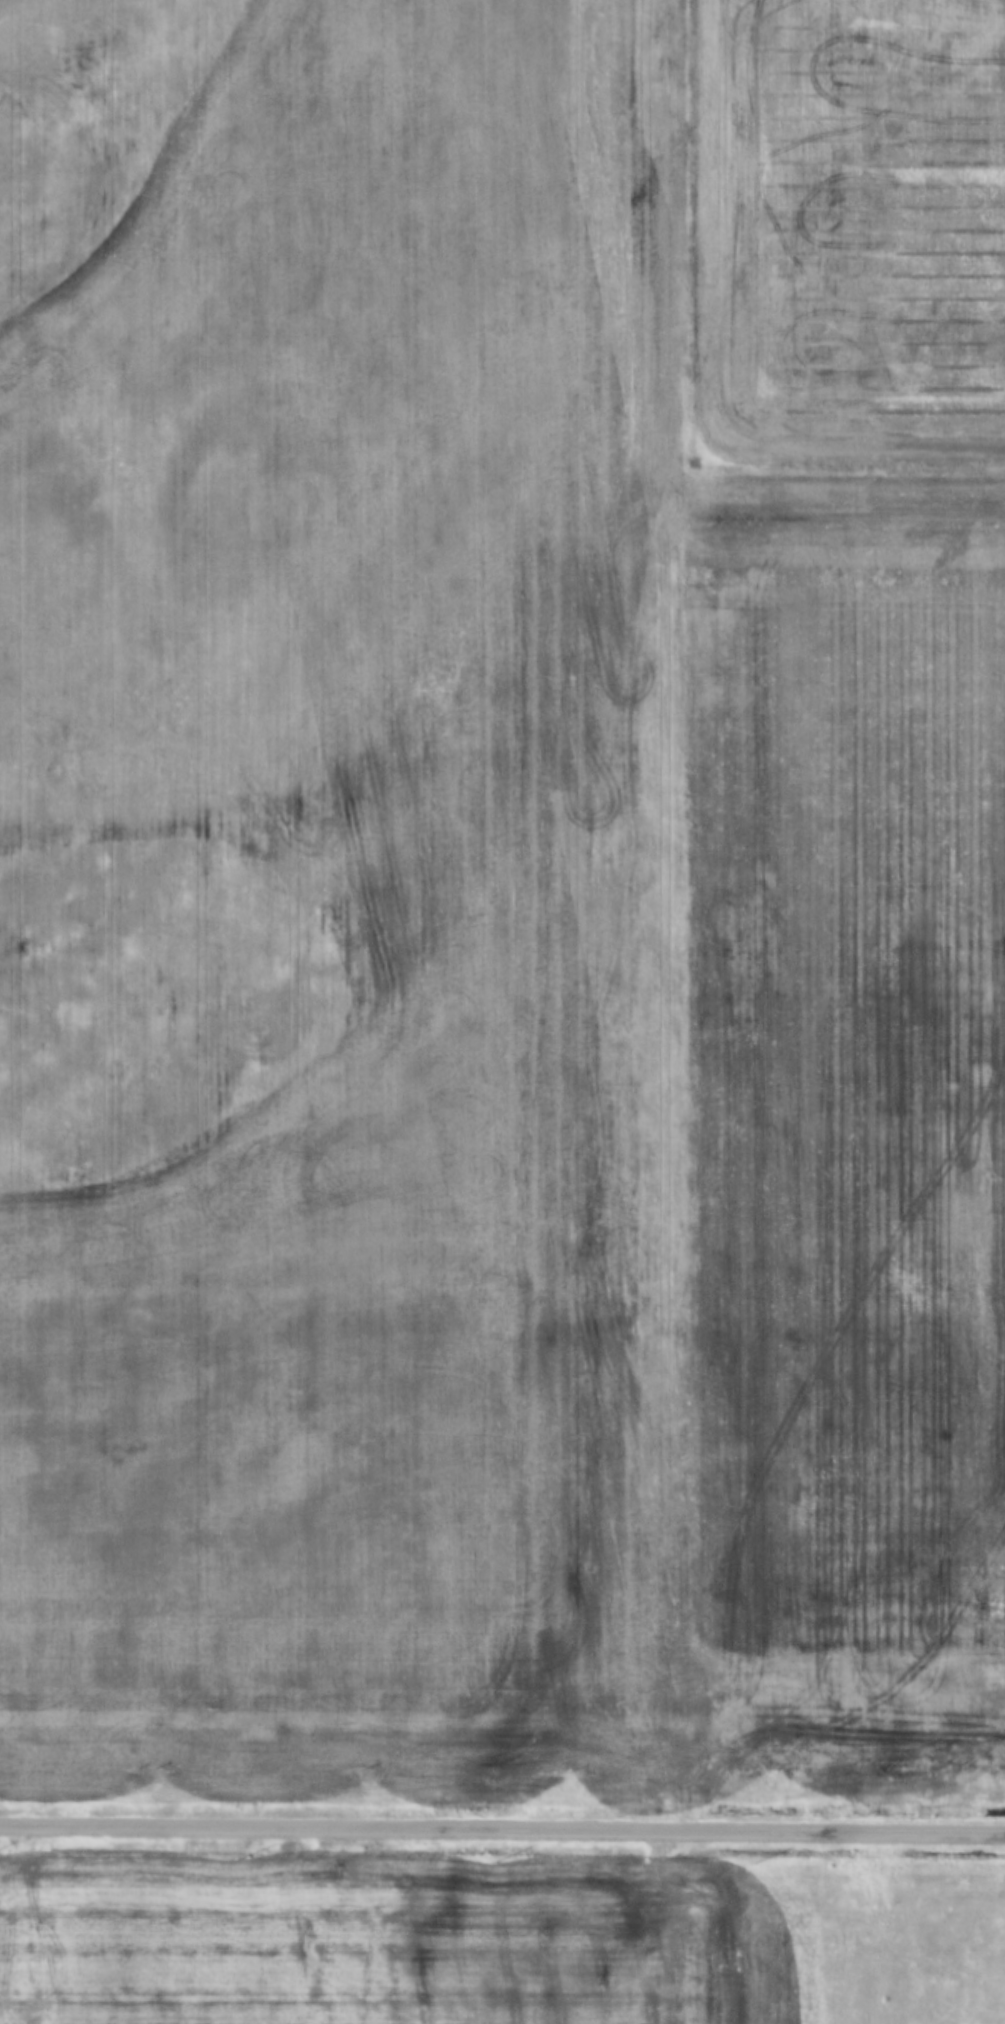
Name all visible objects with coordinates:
road: (502, 1825)

